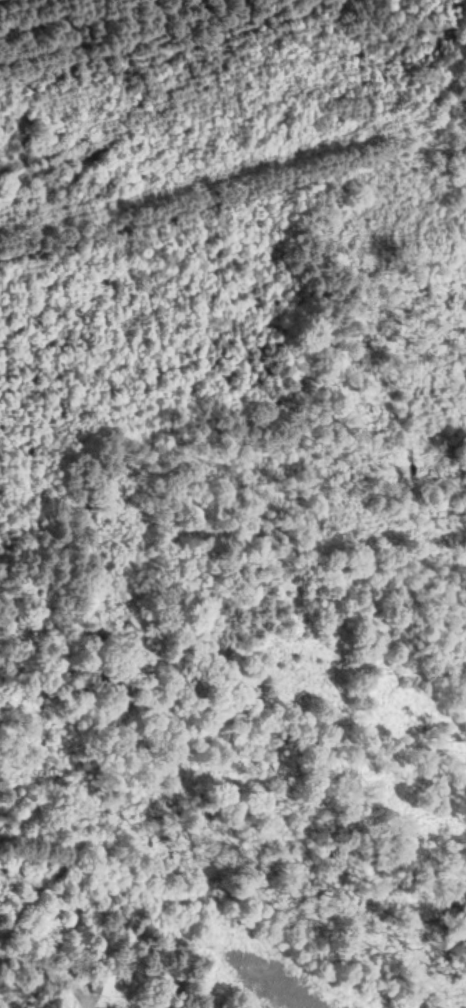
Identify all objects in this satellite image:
building: (101, 983)

